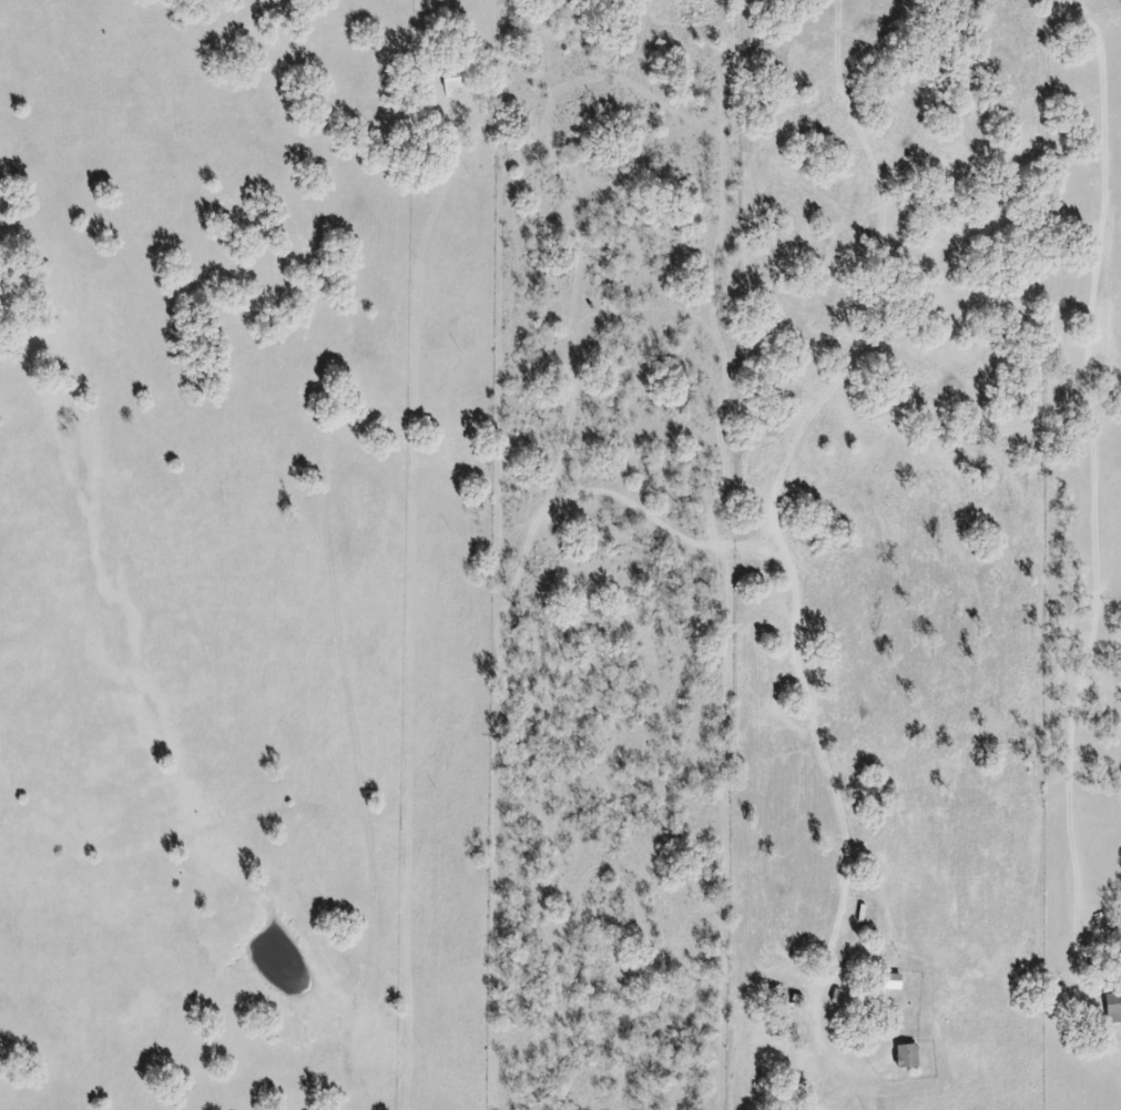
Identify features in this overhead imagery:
building: (450, 80)
road: (1063, 1033)
building: (907, 1059)

